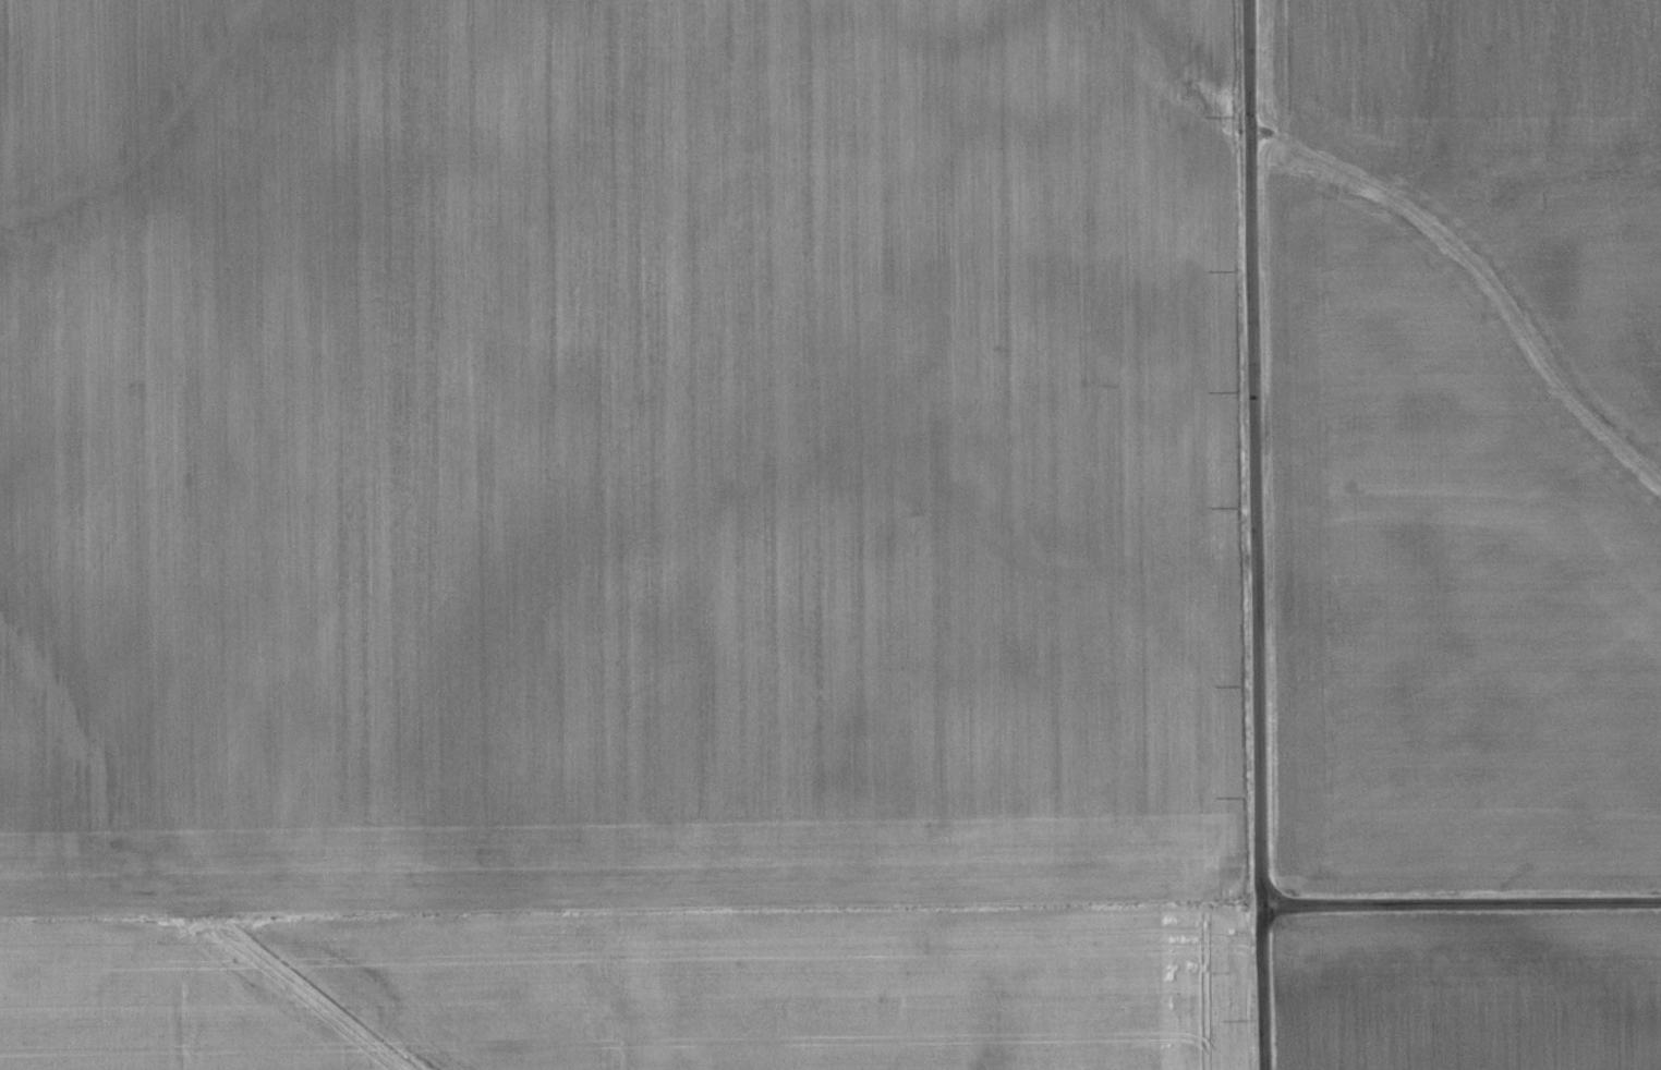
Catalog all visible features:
road: (1256, 535)
road: (1463, 900)

